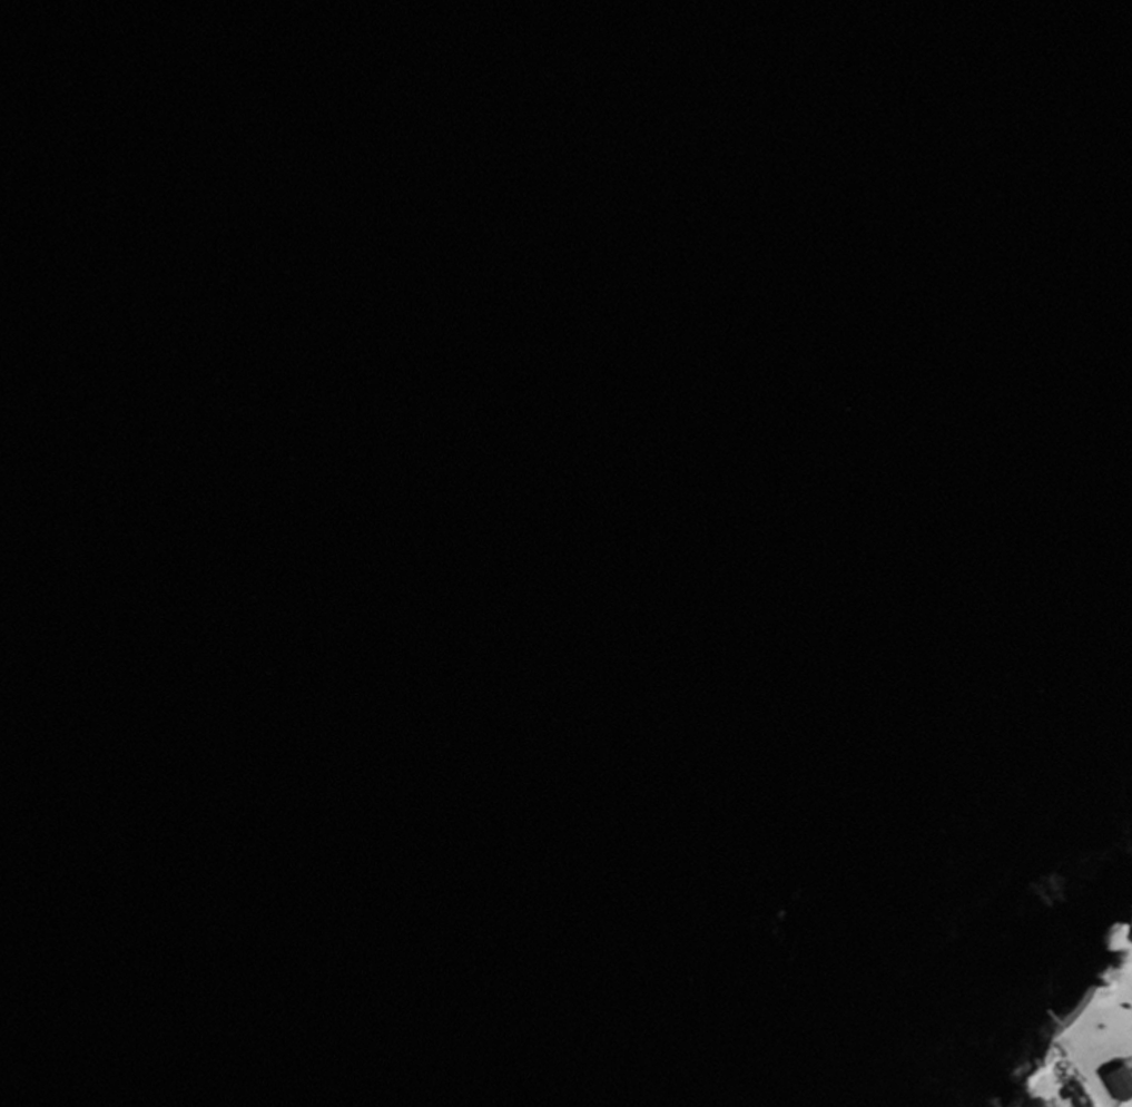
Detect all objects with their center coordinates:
building: (1122, 1081)

